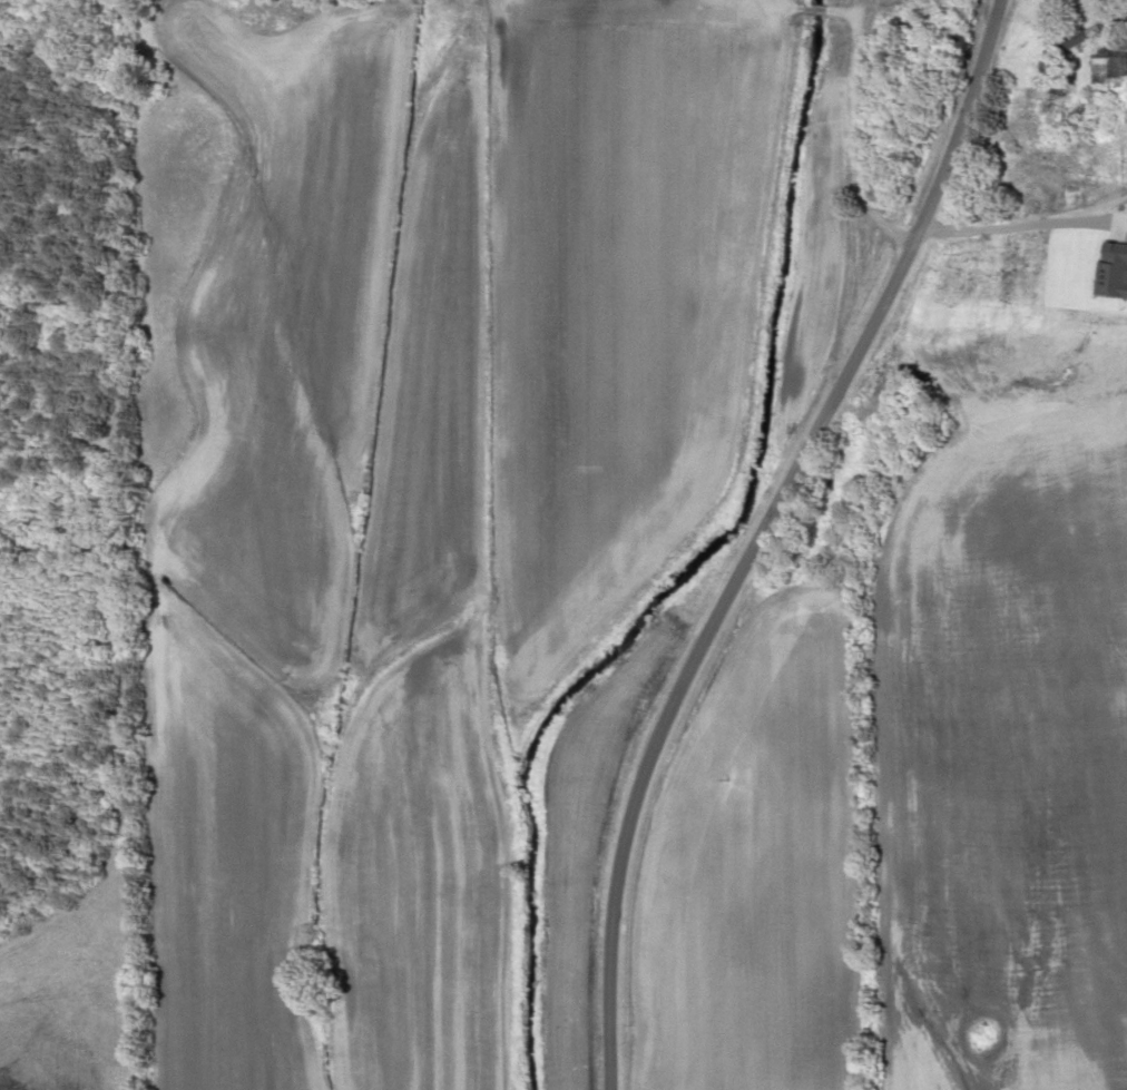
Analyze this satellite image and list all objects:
road: (1070, 3)
building: (1116, 66)
building: (1089, 197)
building: (984, 267)
road: (738, 530)

